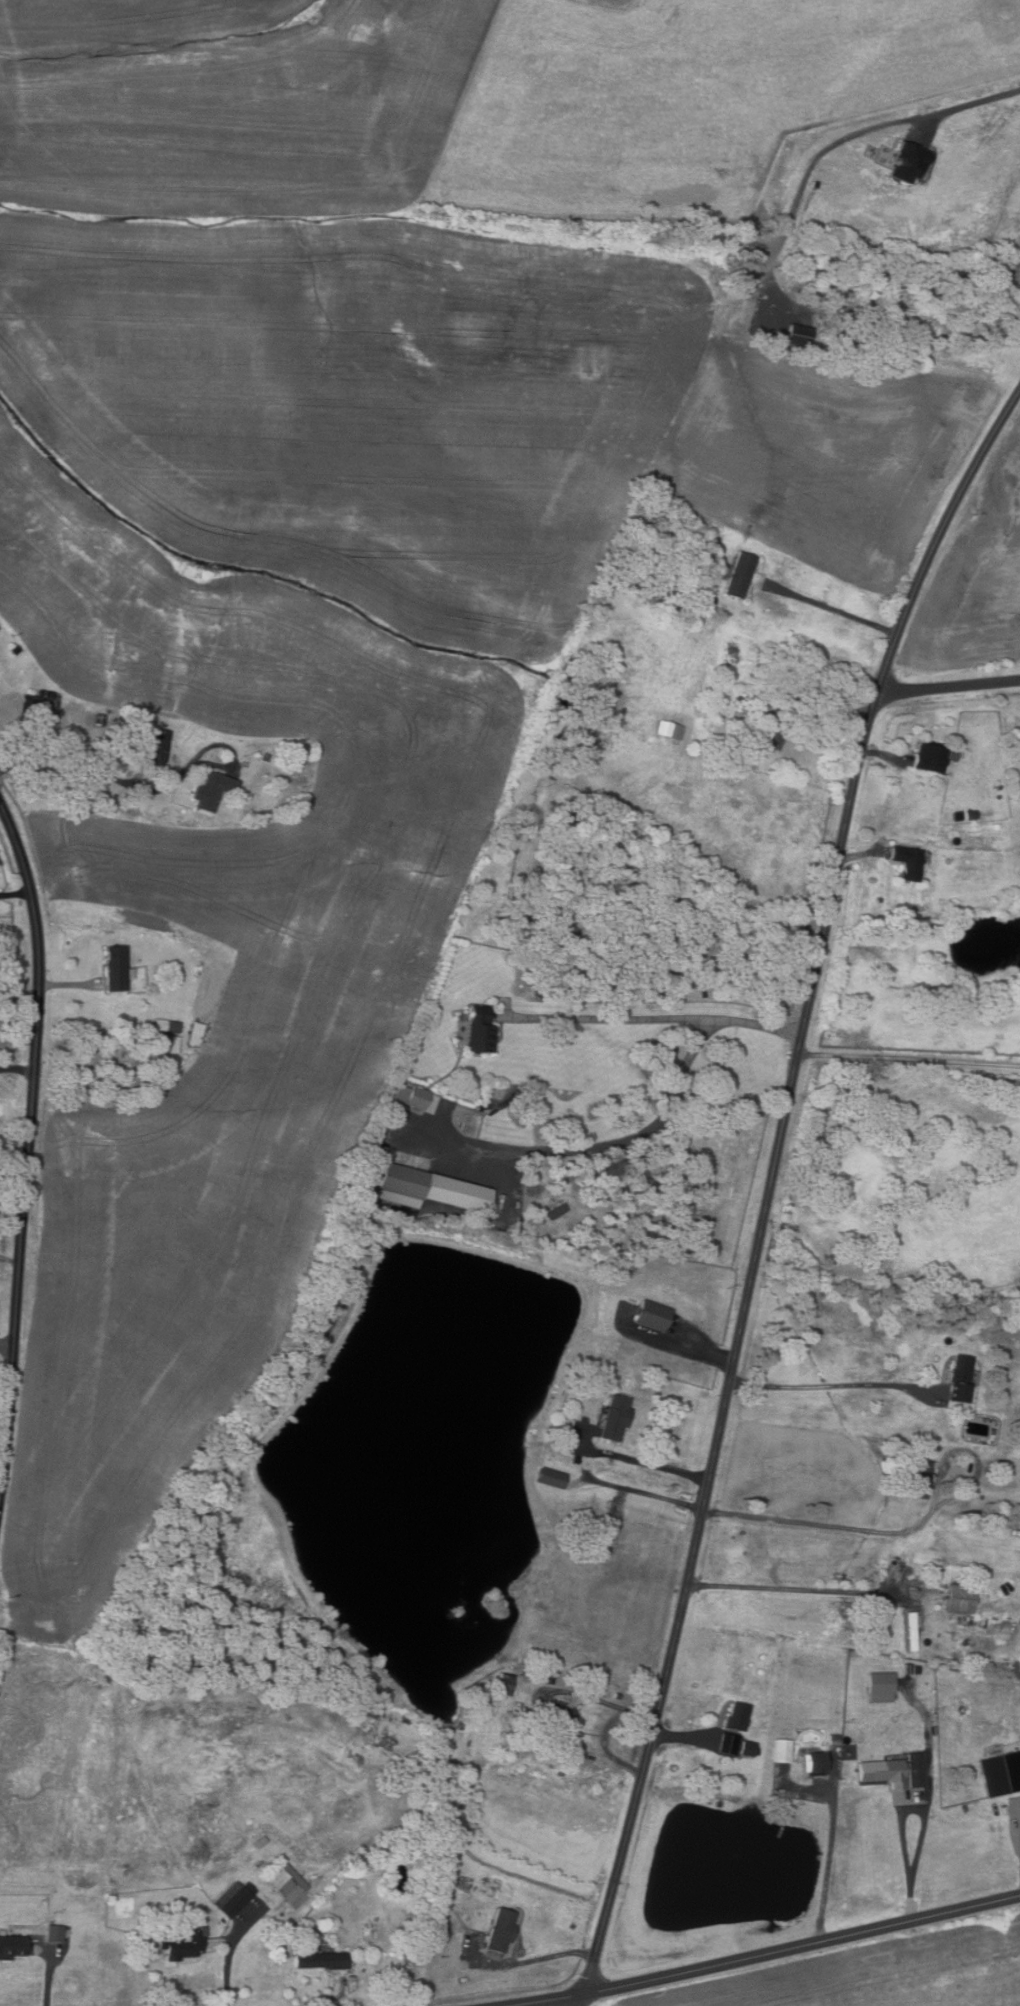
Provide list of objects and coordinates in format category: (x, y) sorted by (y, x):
road: (846, 148)
building: (908, 162)
building: (799, 335)
building: (739, 575)
crop: (977, 575)
road: (831, 606)
crop: (317, 623)
building: (15, 650)
road: (947, 685)
building: (753, 691)
building: (743, 698)
road: (827, 700)
building: (40, 706)
building: (94, 720)
building: (136, 722)
building: (668, 729)
building: (773, 730)
building: (158, 746)
building: (295, 755)
road: (883, 755)
building: (929, 756)
building: (266, 757)
road: (100, 769)
building: (212, 790)
building: (971, 813)
building: (957, 815)
building: (996, 826)
road: (859, 854)
building: (907, 861)
road: (15, 893)
building: (117, 968)
road: (71, 983)
road: (661, 1011)
building: (166, 1025)
building: (480, 1030)
building: (195, 1034)
building: (165, 1043)
road: (909, 1058)
road: (17, 1067)
building: (410, 1095)
building: (492, 1100)
road: (626, 1138)
road: (28, 1143)
road: (770, 1184)
building: (427, 1188)
building: (557, 1211)
building: (652, 1315)
road: (7, 1346)
road: (703, 1348)
building: (586, 1366)
building: (959, 1377)
road: (832, 1384)
building: (615, 1416)
building: (550, 1478)
building: (919, 1478)
road: (596, 1480)
building: (596, 1509)
road: (902, 1532)
road: (794, 1589)
building: (959, 1597)
building: (912, 1628)
building: (549, 1678)
building: (505, 1683)
building: (879, 1686)
building: (617, 1695)
road: (602, 1701)
building: (736, 1715)
building: (556, 1722)
road: (685, 1736)
building: (834, 1739)
building: (728, 1743)
building: (747, 1748)
building: (782, 1750)
building: (813, 1762)
building: (916, 1769)
building: (888, 1772)
building: (1001, 1773)
road: (902, 1822)
building: (260, 1842)
road: (1015, 1849)
road: (829, 1864)
building: (285, 1883)
building: (234, 1897)
building: (440, 1907)
building: (500, 1929)
building: (55, 1932)
building: (183, 1944)
building: (11, 1947)
road: (760, 1954)
building: (319, 1960)
road: (526, 1962)
road: (52, 1968)
road: (228, 1970)
crop: (880, 1974)
road: (323, 1999)

